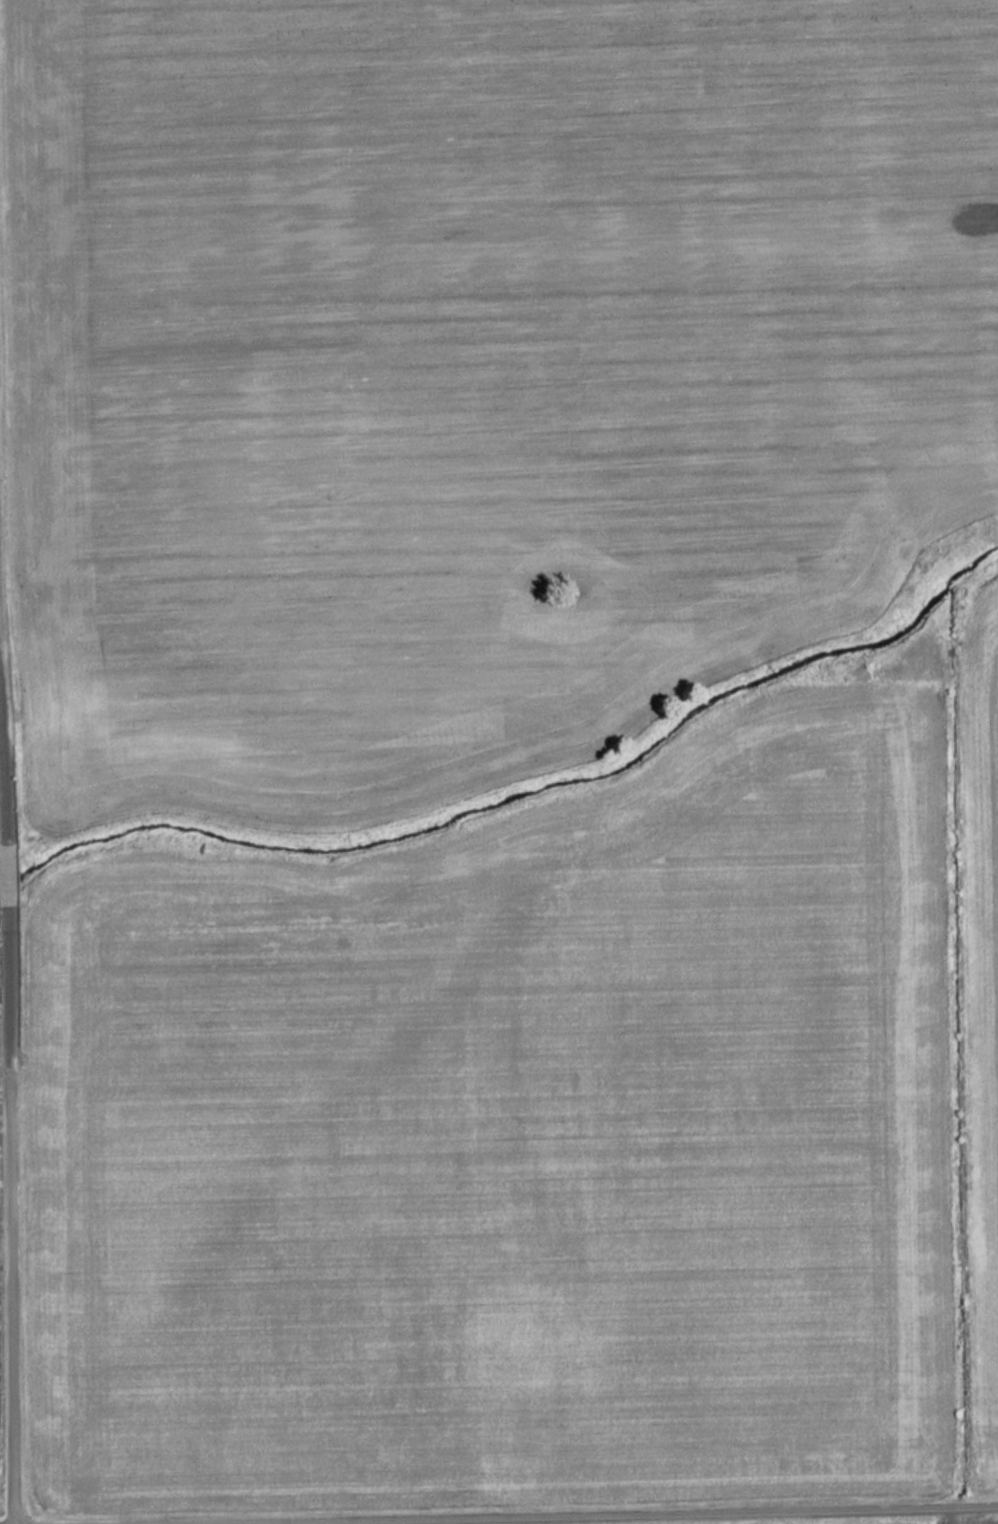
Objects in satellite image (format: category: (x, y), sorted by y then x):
crop: (472, 368)
road: (2, 721)
road: (4, 875)
crop: (980, 1020)
crop: (507, 1146)
road: (11, 1214)
road: (578, 1515)

